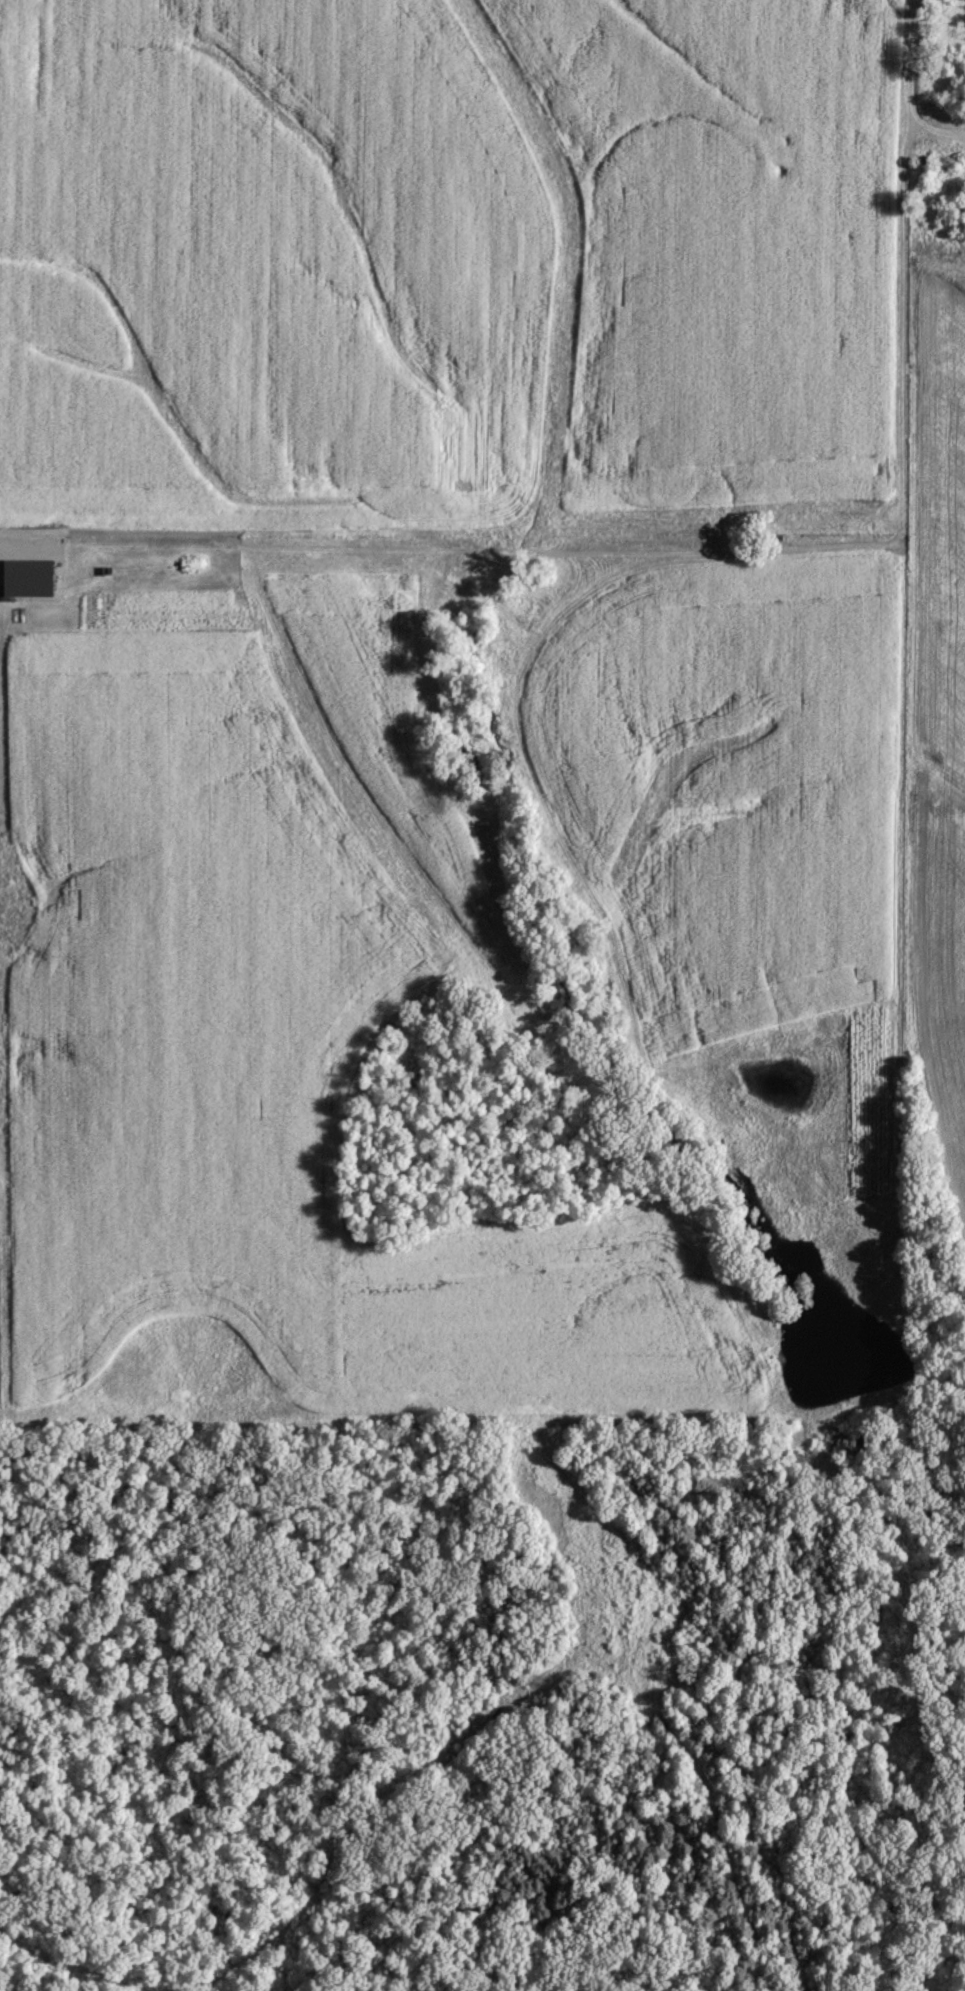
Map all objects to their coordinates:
building: (31, 577)

